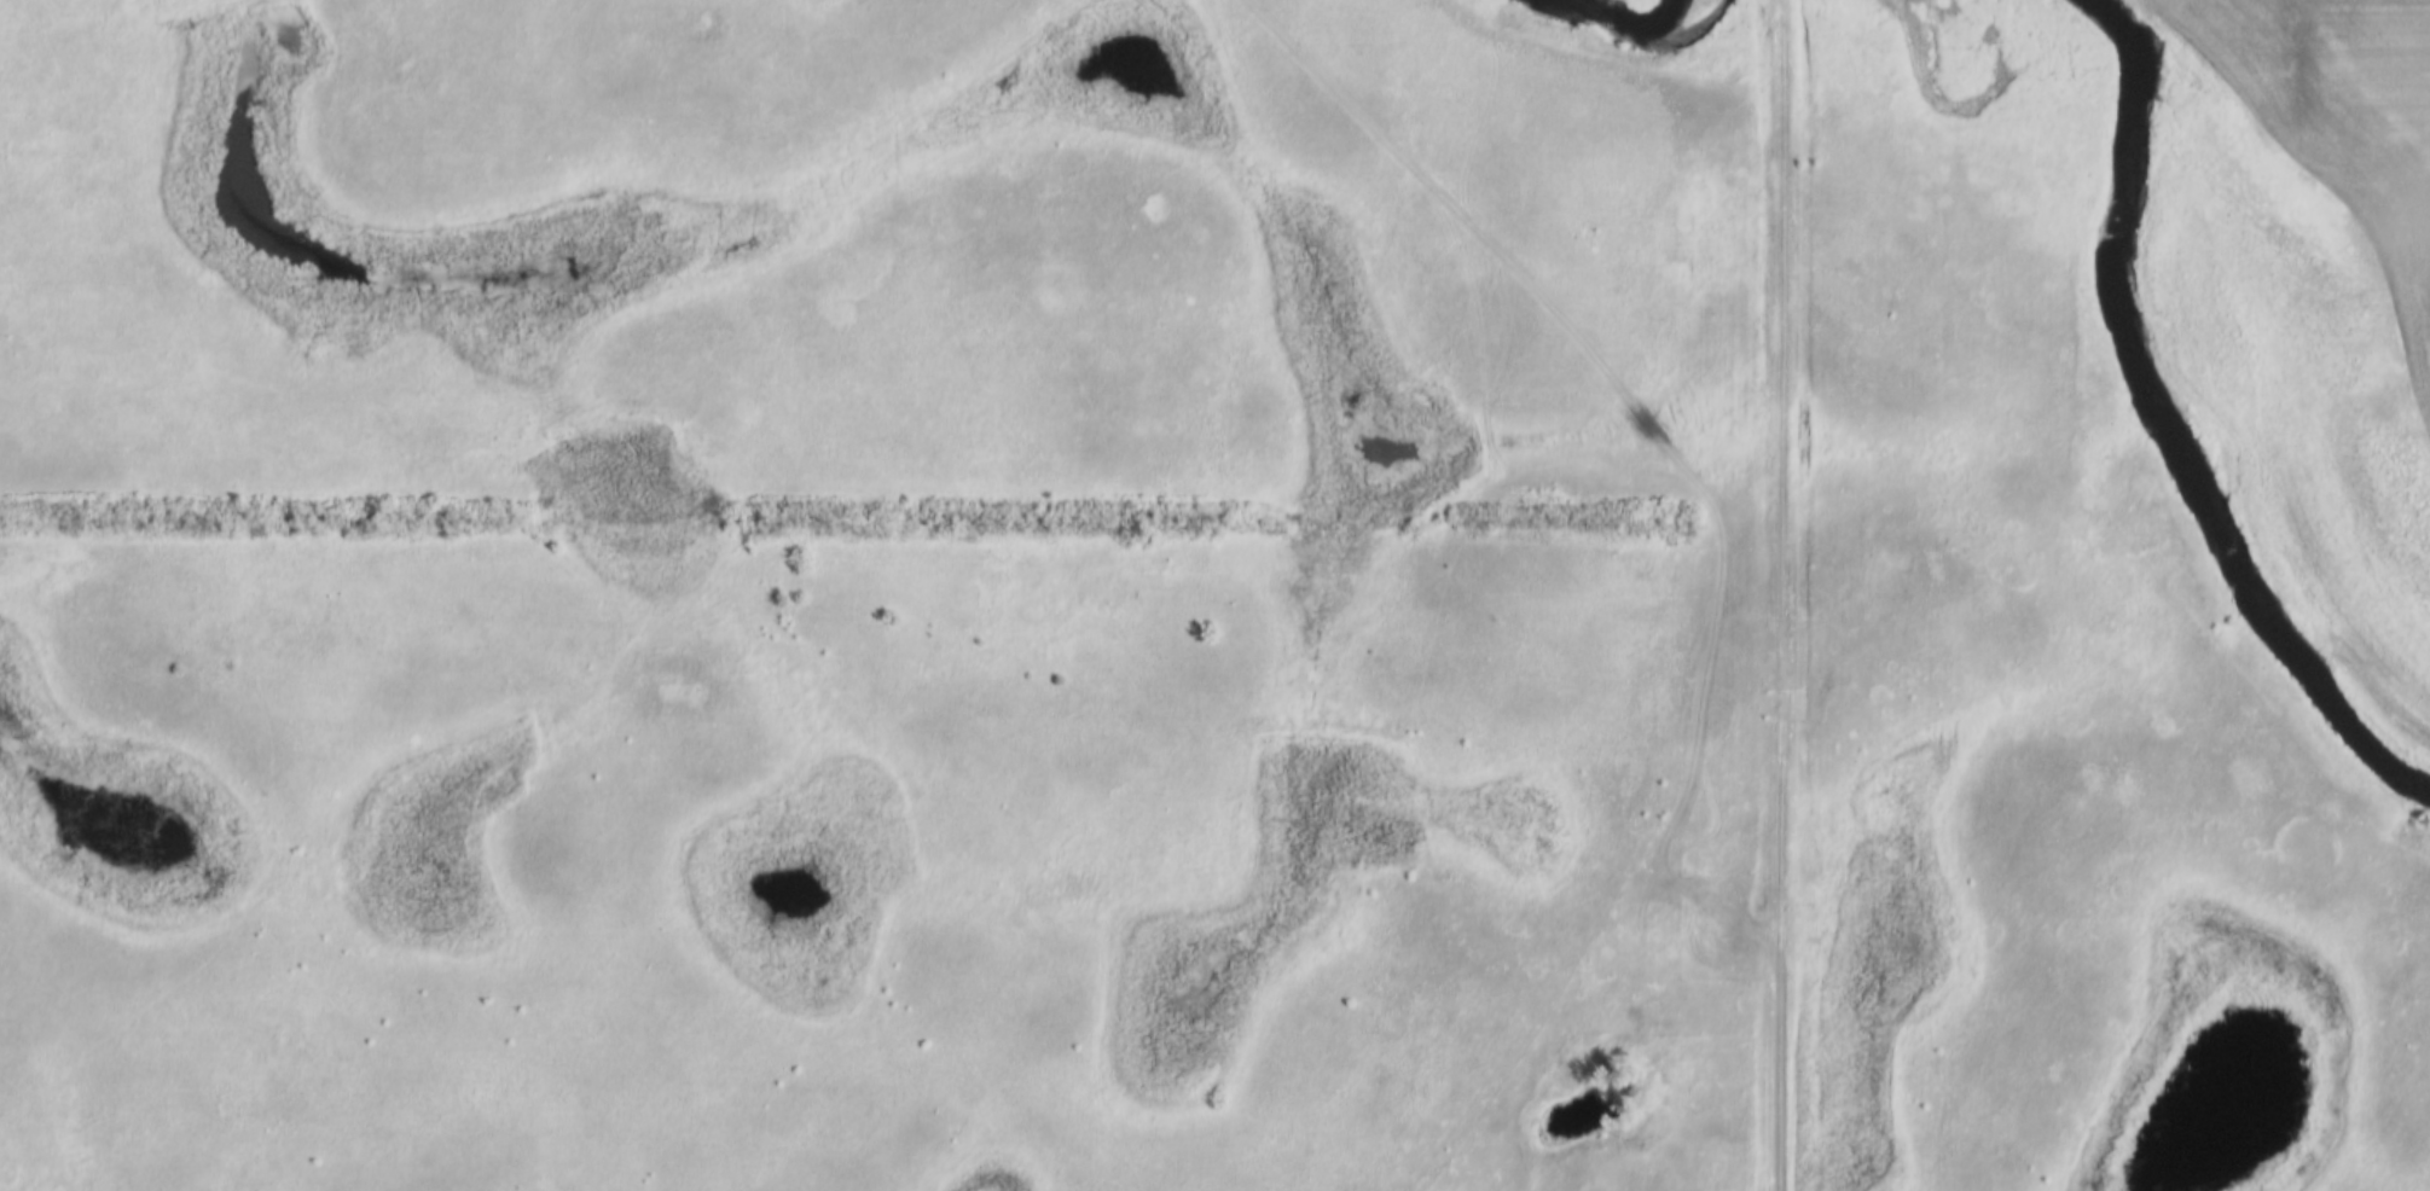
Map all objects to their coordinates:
river: (1655, 33)
river: (2156, 438)
road: (1786, 594)

